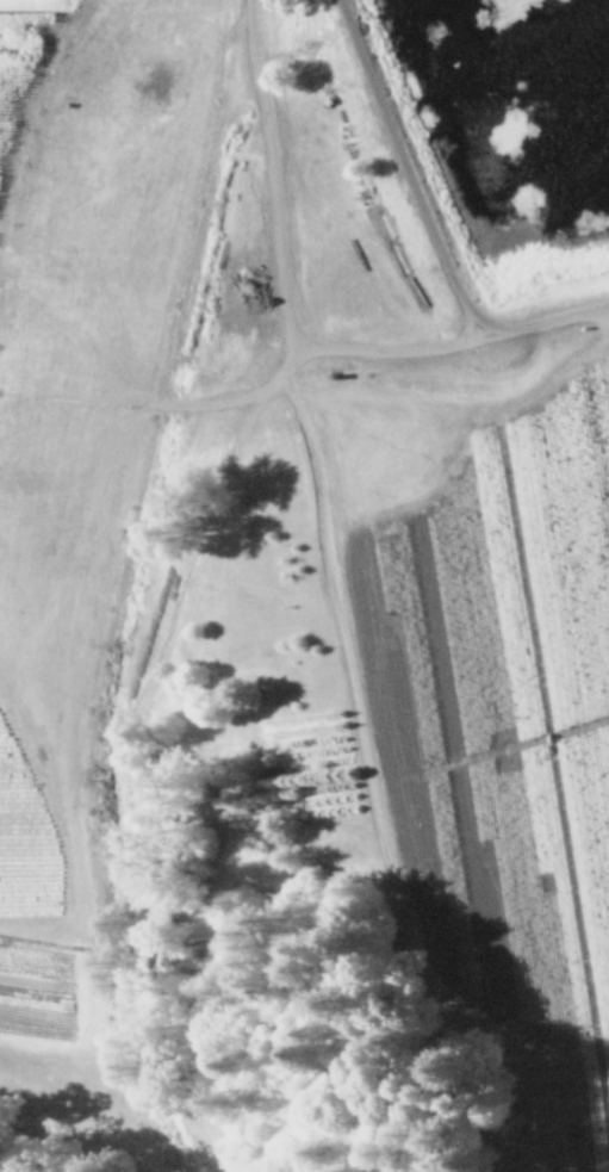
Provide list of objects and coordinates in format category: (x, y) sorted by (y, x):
crop: (310, 494)

